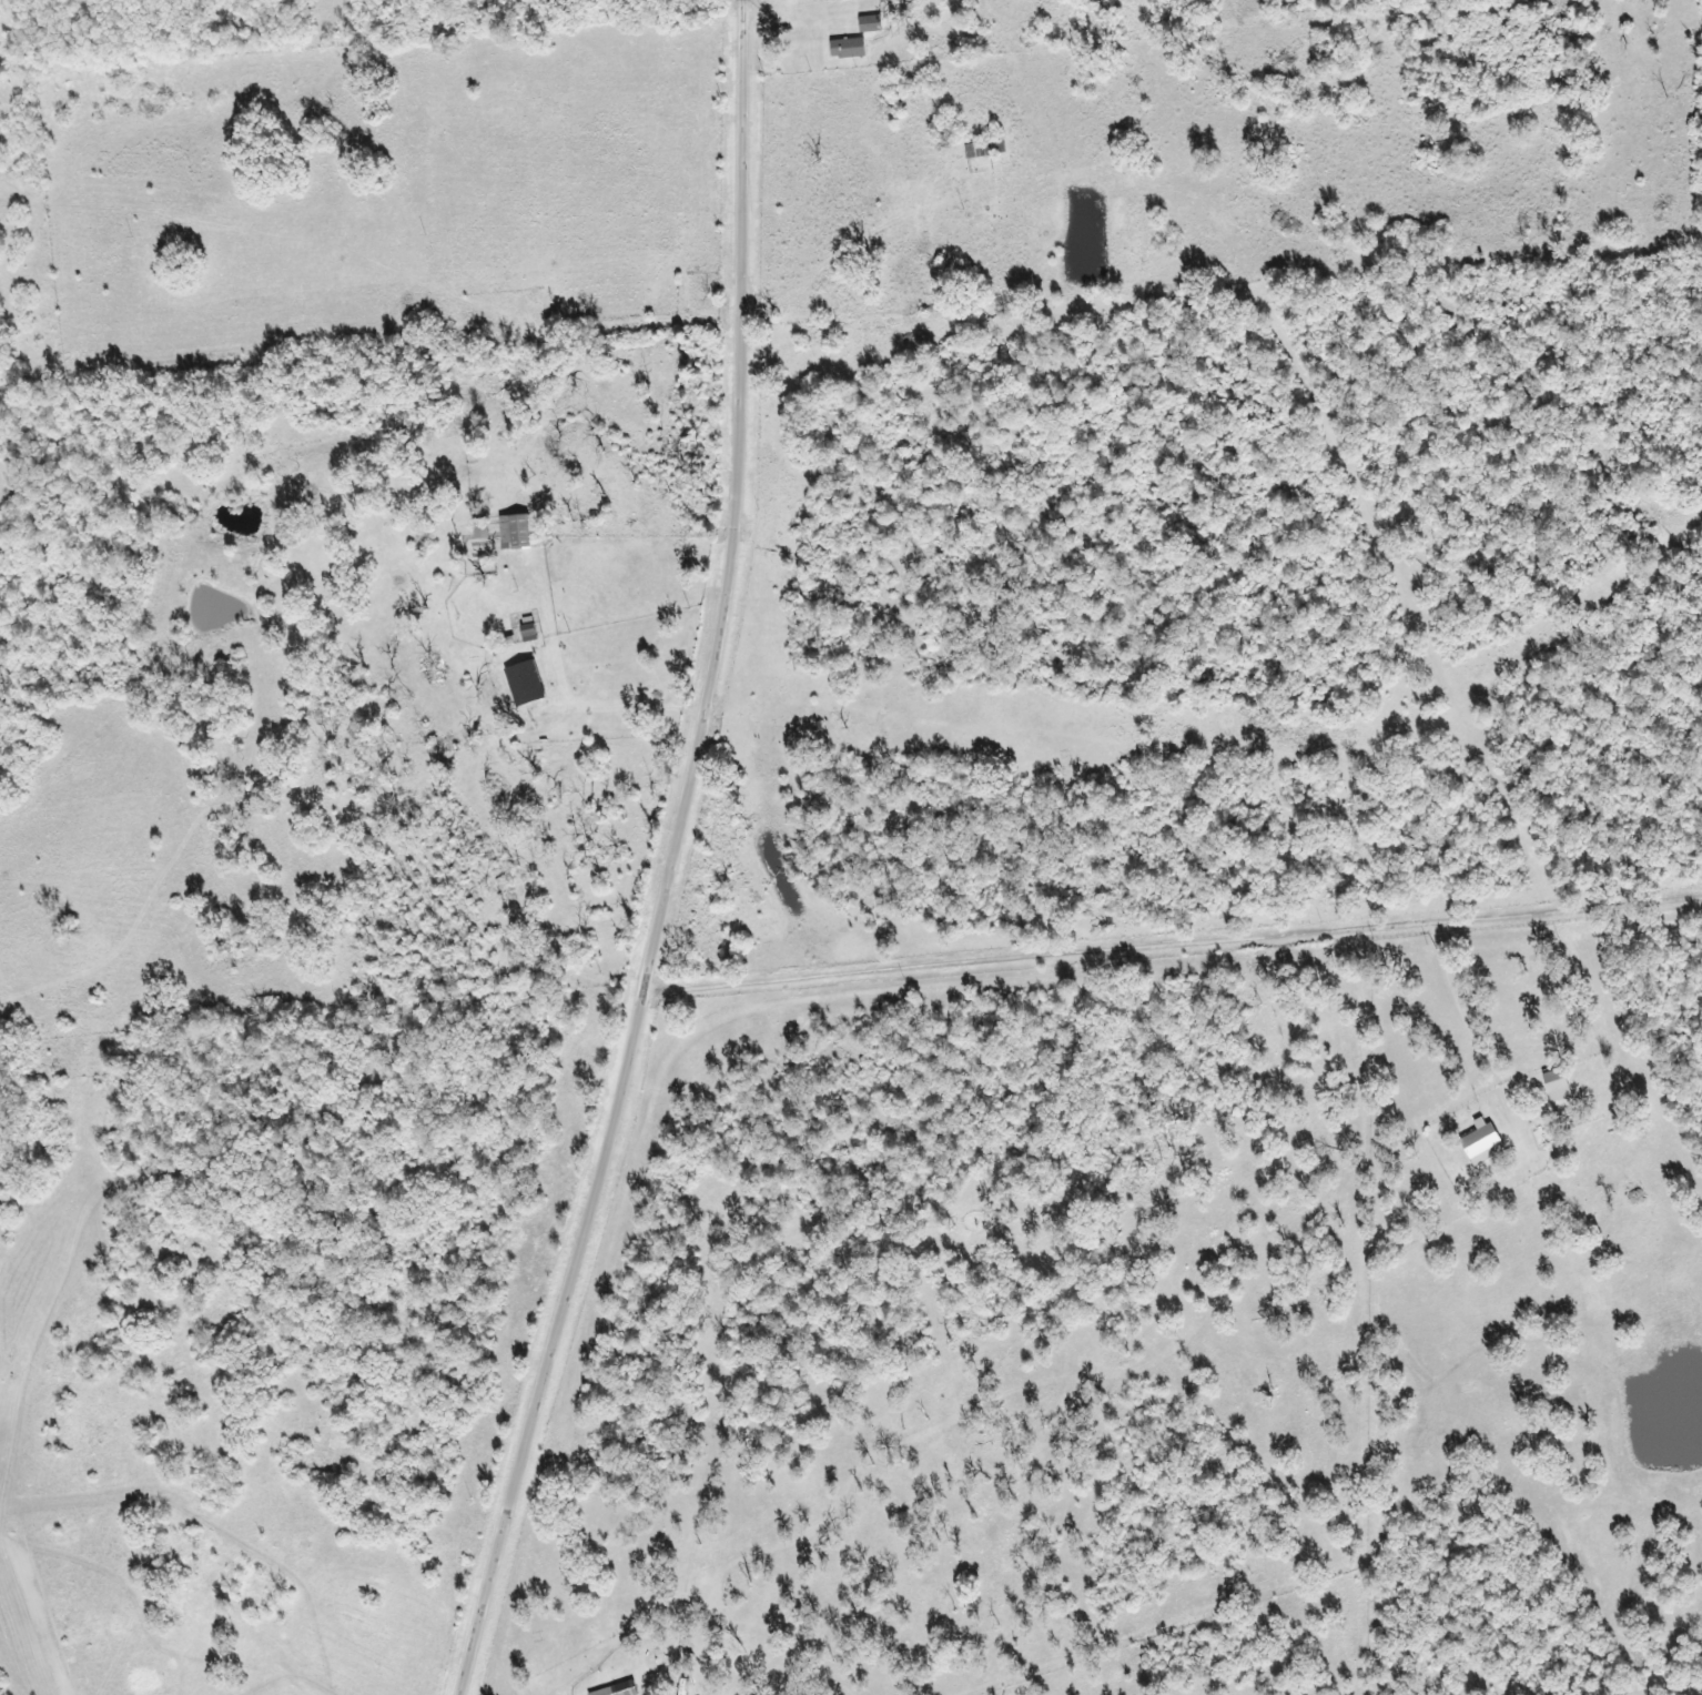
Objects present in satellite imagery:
building: (863, 23)
building: (843, 48)
building: (510, 531)
building: (524, 630)
building: (525, 682)
road: (678, 858)
road: (1175, 939)
building: (1552, 1083)
building: (1478, 1143)
building: (615, 1689)

